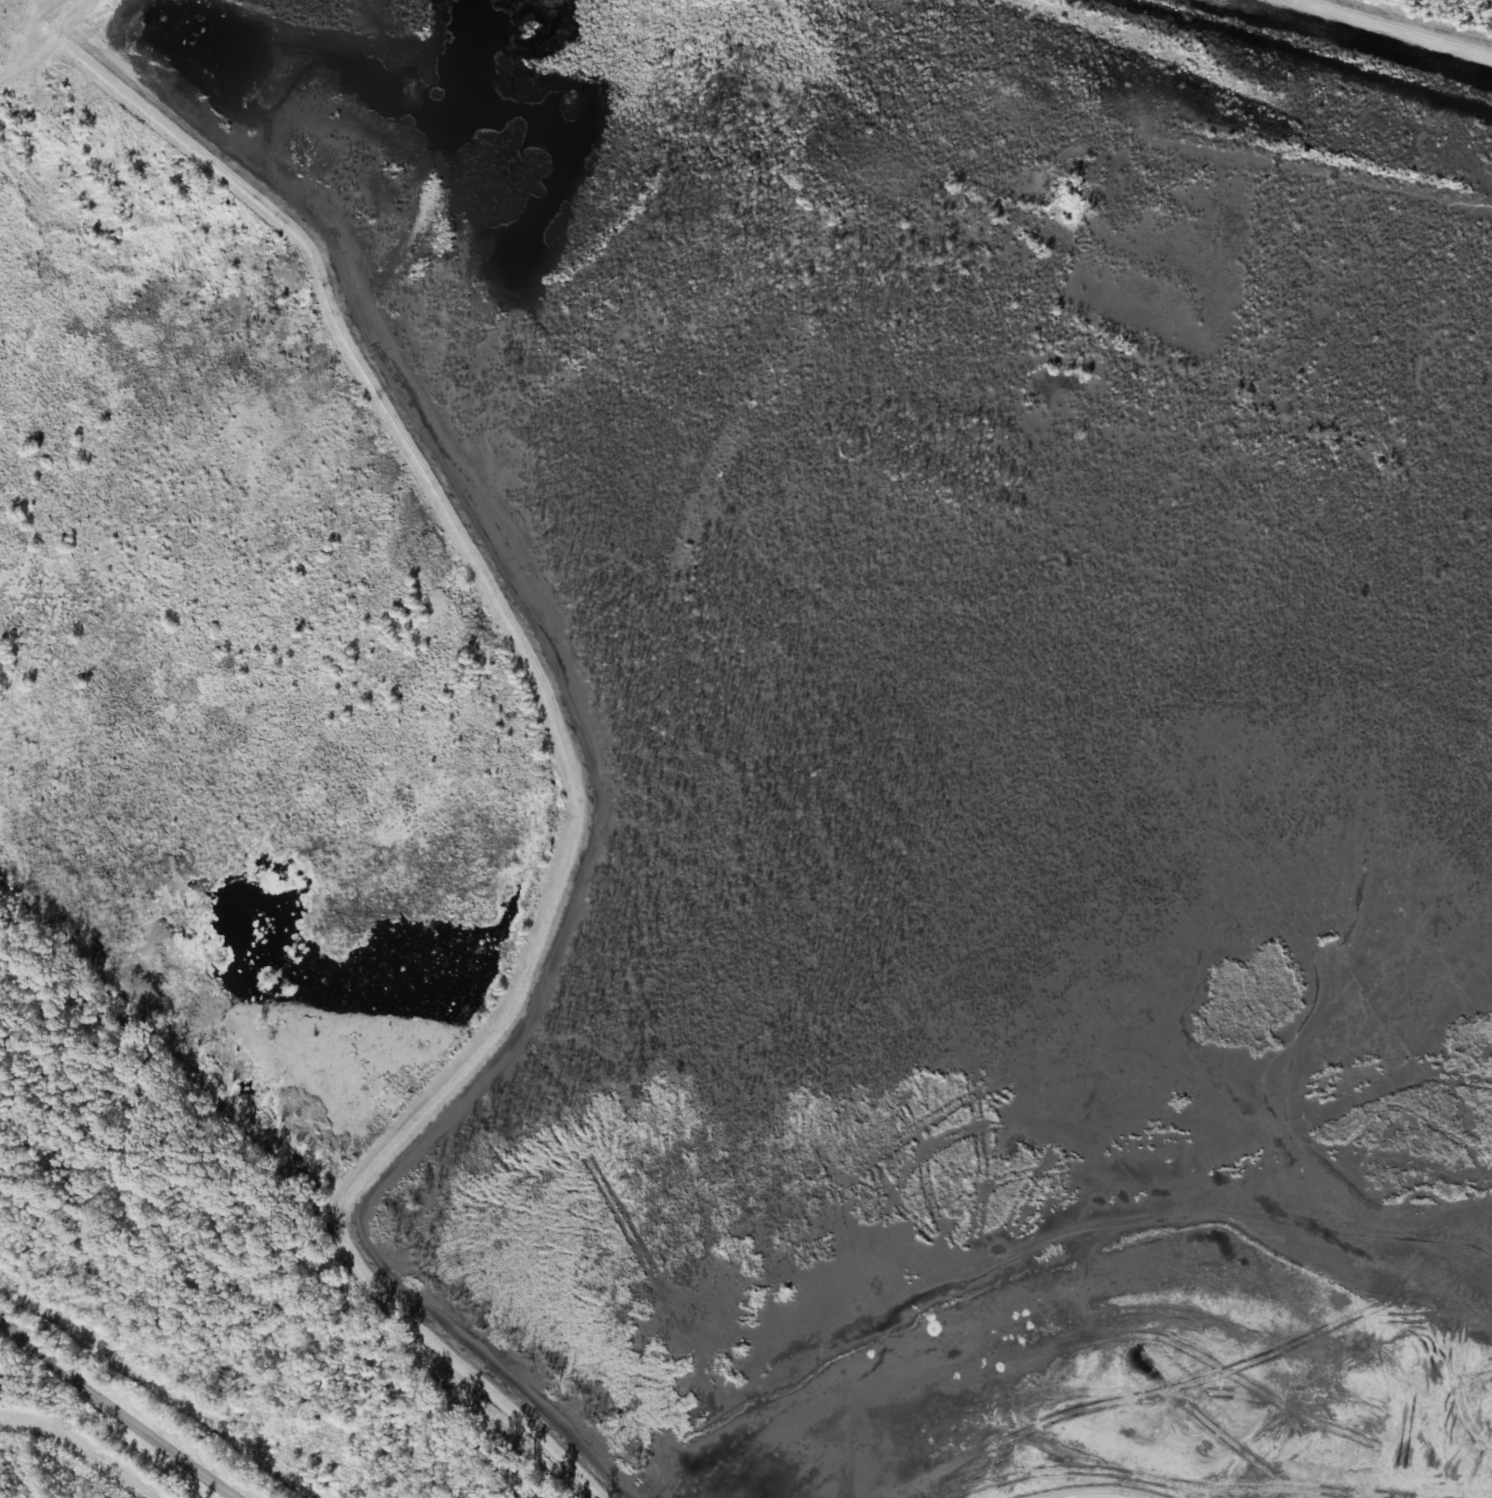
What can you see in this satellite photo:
road: (118, 1410)

